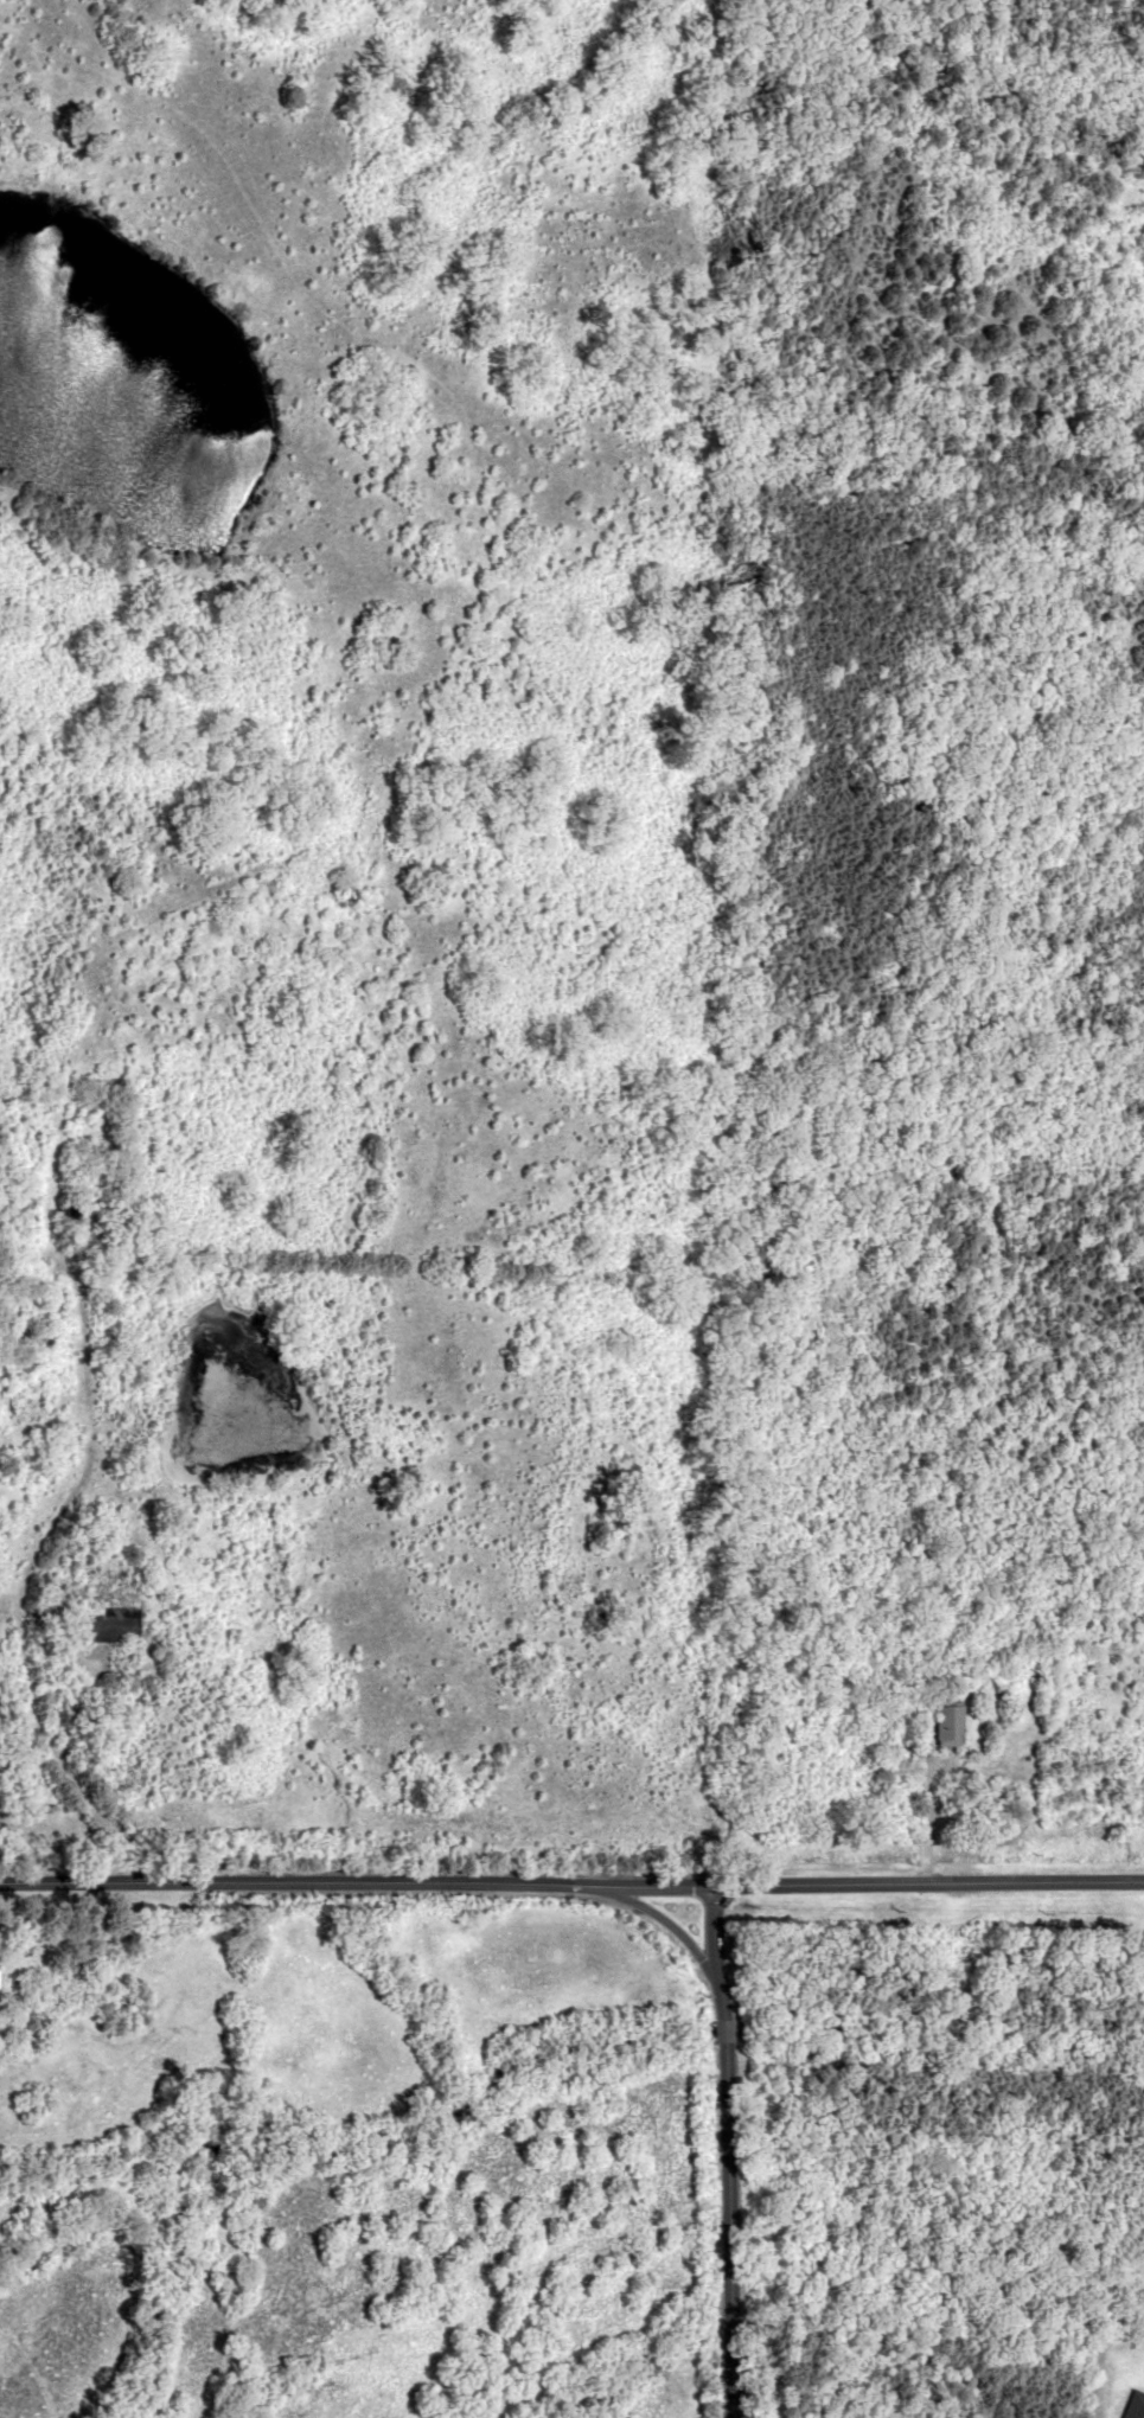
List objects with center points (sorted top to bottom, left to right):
building: (89, 1201)
building: (66, 1236)
road: (65, 1286)
building: (50, 1581)
building: (117, 1624)
building: (948, 1721)
road: (290, 1881)
road: (646, 1882)
road: (927, 1883)
road: (677, 1892)
road: (711, 1930)
road: (724, 2113)

